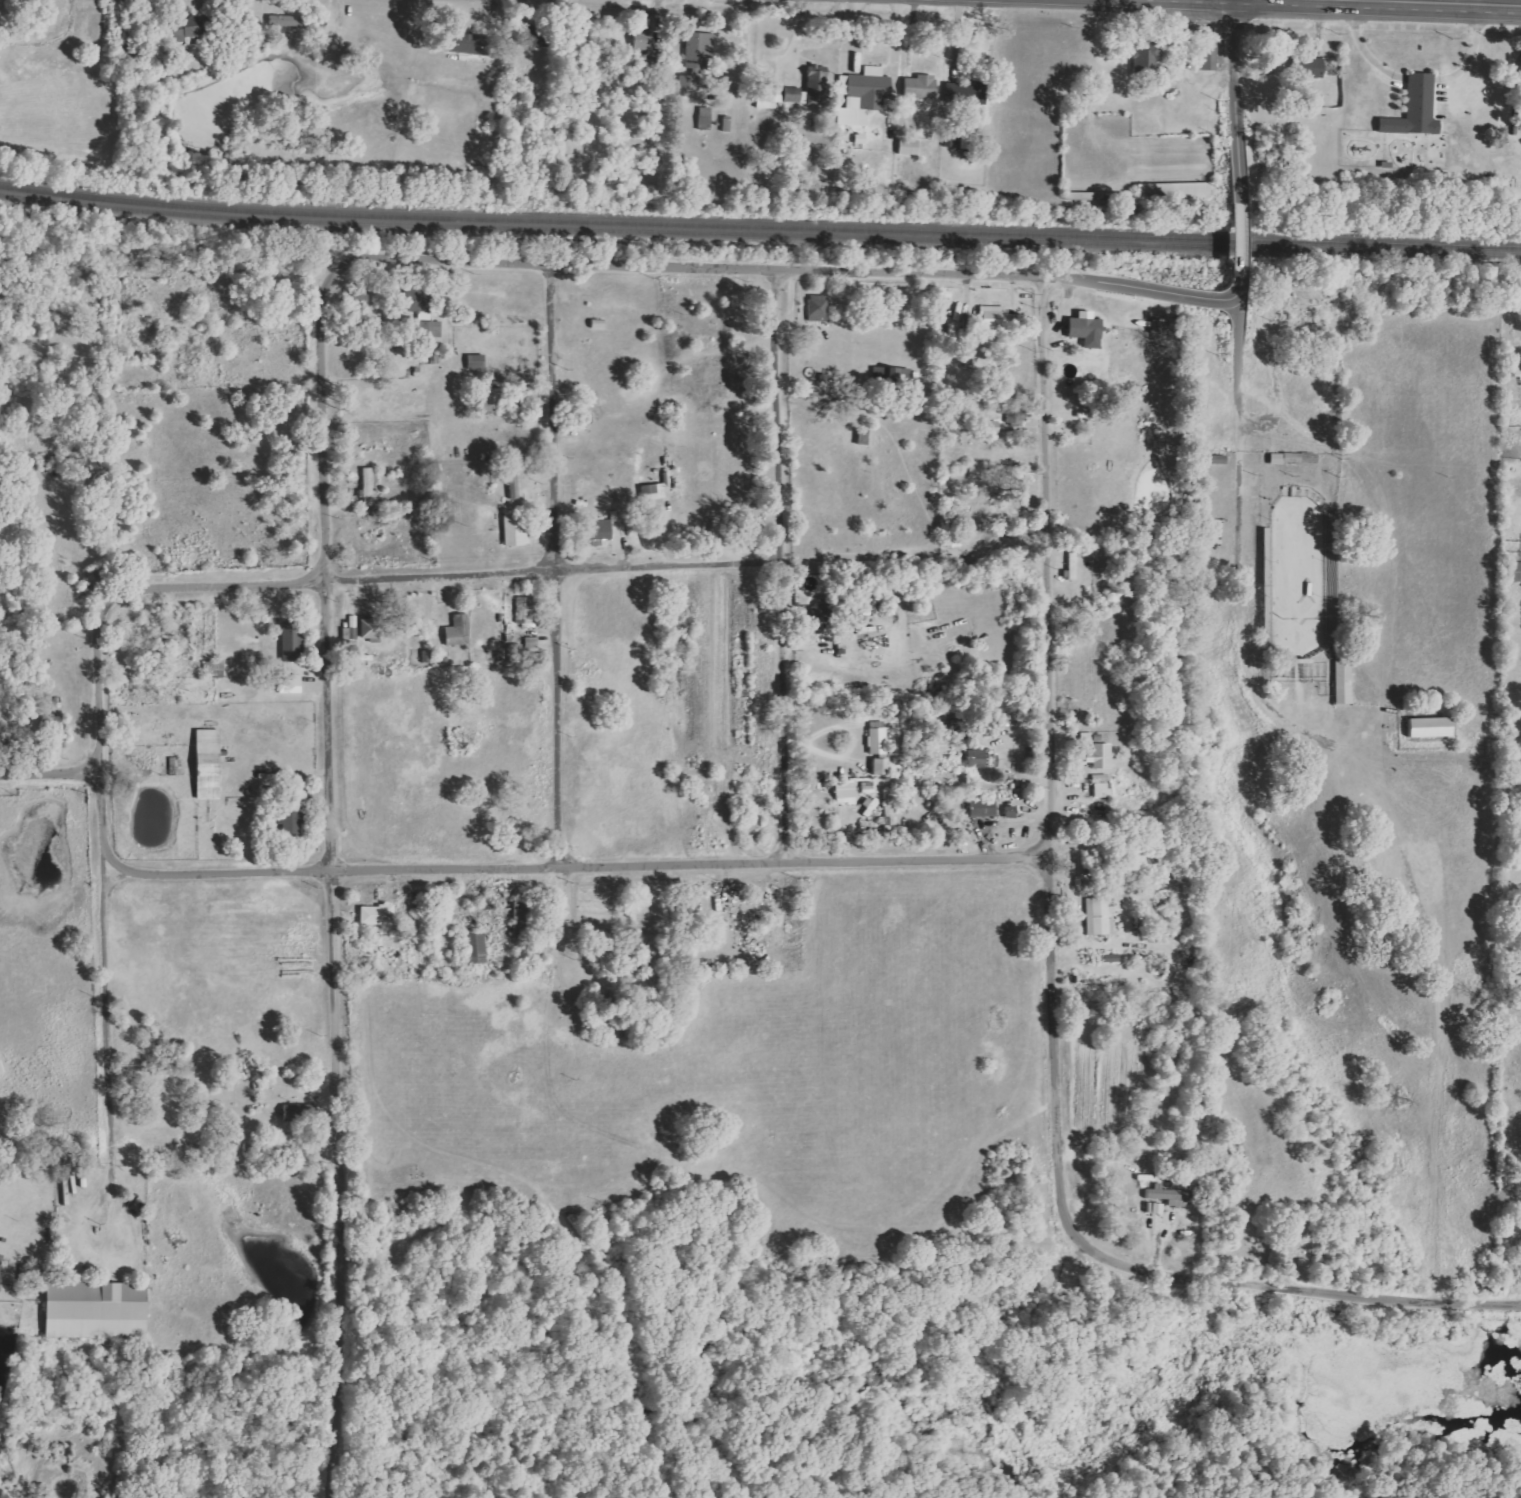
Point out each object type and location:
road: (1475, 0)
building: (292, 22)
building: (193, 33)
road: (832, 36)
building: (536, 37)
road: (799, 41)
building: (475, 45)
building: (703, 50)
building: (1311, 69)
building: (692, 84)
building: (923, 89)
building: (812, 90)
building: (979, 93)
building: (866, 96)
road: (1237, 102)
building: (1419, 110)
building: (707, 119)
building: (729, 127)
building: (864, 139)
building: (913, 148)
building: (976, 150)
building: (1177, 191)
railway: (759, 224)
railway: (759, 236)
road: (1236, 239)
road: (542, 267)
road: (957, 277)
road: (1230, 292)
road: (1175, 293)
road: (794, 308)
building: (820, 308)
building: (426, 312)
building: (998, 317)
building: (1160, 325)
building: (1091, 329)
building: (478, 362)
road: (560, 419)
building: (993, 426)
road: (326, 430)
building: (1297, 459)
building: (517, 485)
building: (371, 486)
building: (653, 493)
building: (1009, 503)
building: (520, 530)
building: (601, 532)
road: (673, 565)
building: (1076, 566)
road: (784, 568)
road: (1051, 568)
road: (447, 571)
building: (1511, 572)
road: (122, 582)
building: (528, 610)
building: (823, 613)
building: (461, 631)
building: (295, 642)
building: (534, 643)
building: (520, 652)
building: (1346, 680)
road: (563, 718)
building: (1434, 728)
building: (1089, 738)
building: (880, 742)
building: (1103, 757)
building: (982, 759)
building: (212, 765)
building: (884, 767)
road: (1365, 769)
building: (1103, 778)
building: (870, 788)
building: (1105, 790)
building: (848, 793)
building: (986, 809)
road: (482, 870)
building: (380, 915)
building: (1102, 918)
building: (524, 920)
building: (480, 949)
road: (108, 1024)
road: (345, 1035)
building: (302, 1112)
building: (1174, 1197)
road: (1105, 1258)
building: (2, 1272)
building: (101, 1311)

